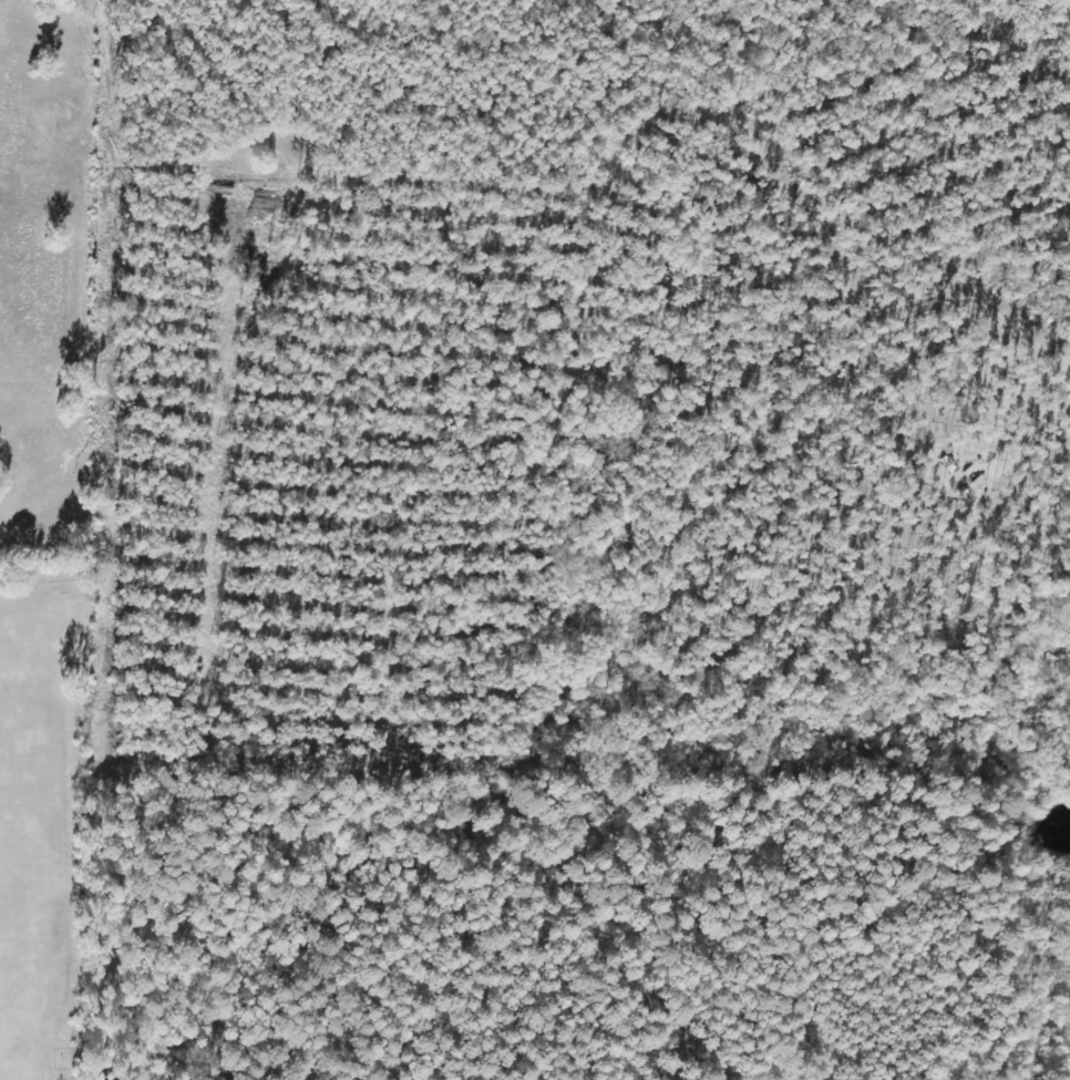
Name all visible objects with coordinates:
road: (951, 978)

